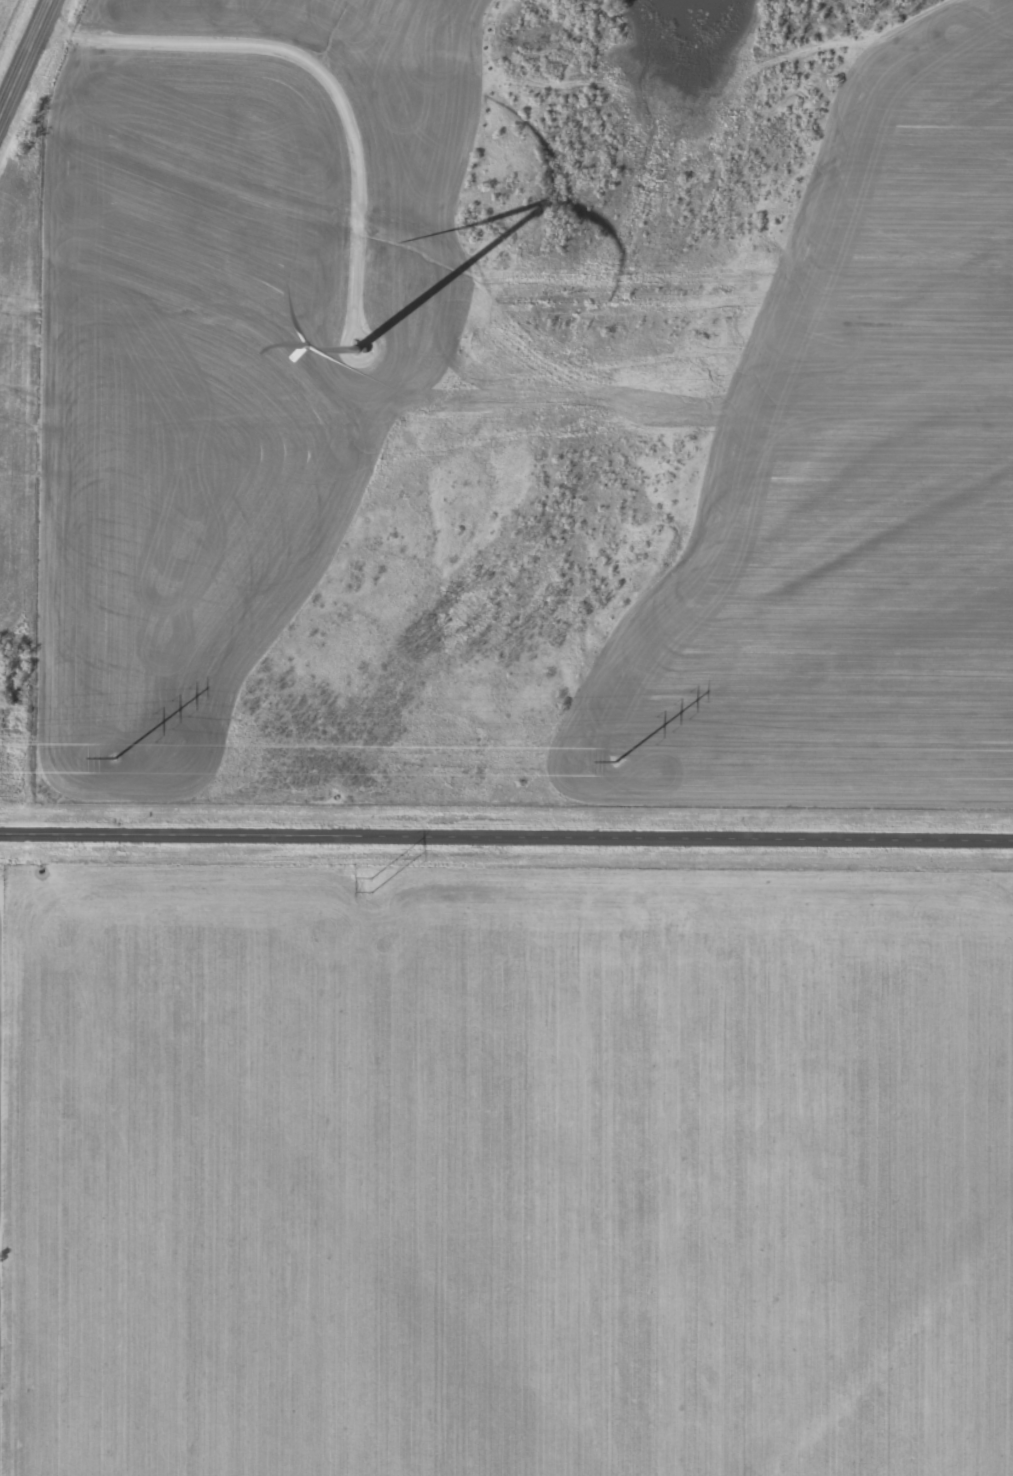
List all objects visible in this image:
road: (239, 36)
road: (29, 67)
wind turbine: (365, 351)
power tower: (113, 758)
power tower: (615, 761)
road: (506, 840)
power tower: (368, 885)

